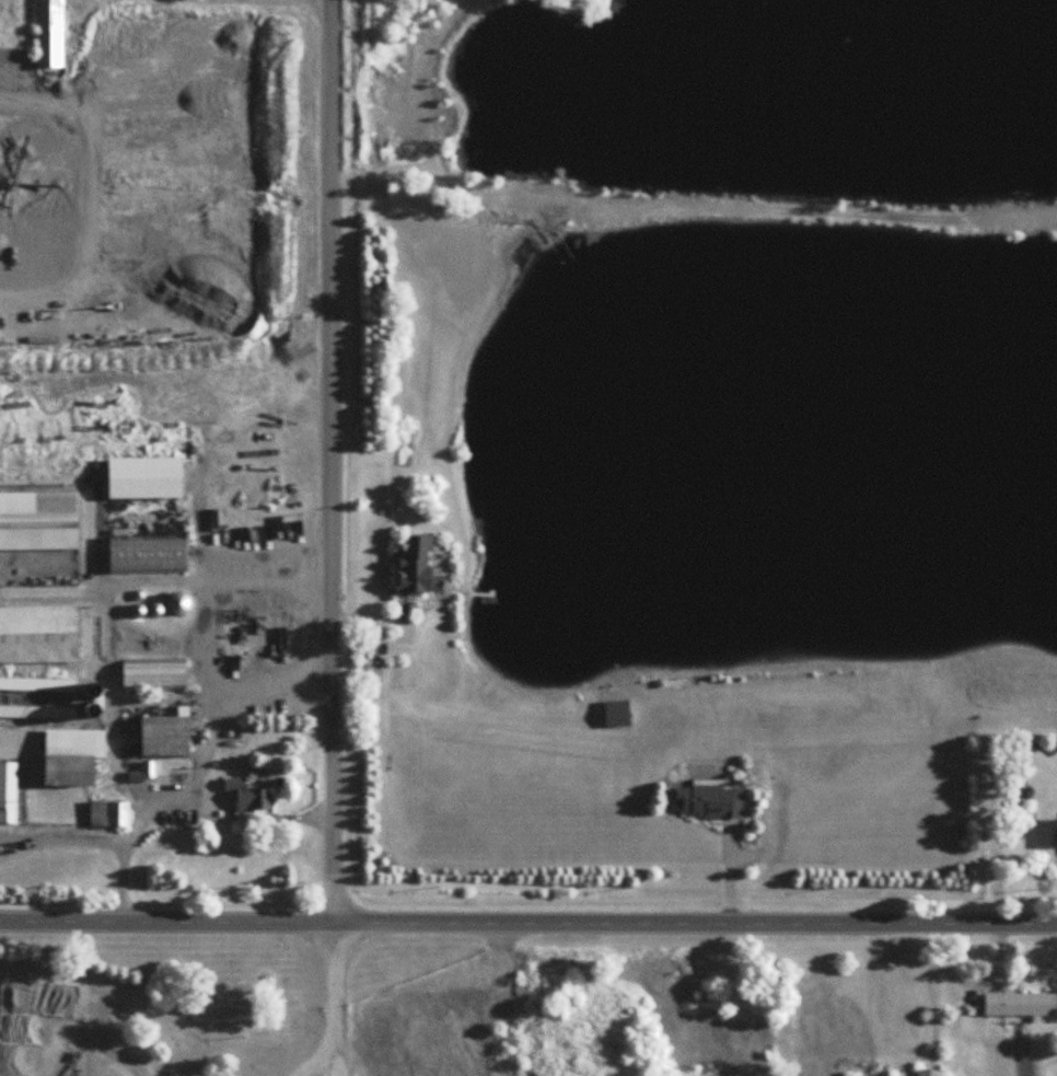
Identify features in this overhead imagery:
building: (51, 33)
road: (332, 460)
building: (147, 477)
building: (39, 521)
building: (149, 555)
building: (418, 568)
road: (208, 575)
road: (103, 581)
building: (181, 603)
building: (39, 633)
building: (155, 673)
building: (38, 697)
road: (211, 728)
building: (167, 736)
building: (73, 756)
building: (9, 792)
building: (247, 794)
building: (709, 802)
building: (109, 813)
road: (100, 840)
road: (527, 919)
building: (1021, 1005)
road: (332, 1013)
road: (337, 1058)
building: (932, 1073)

